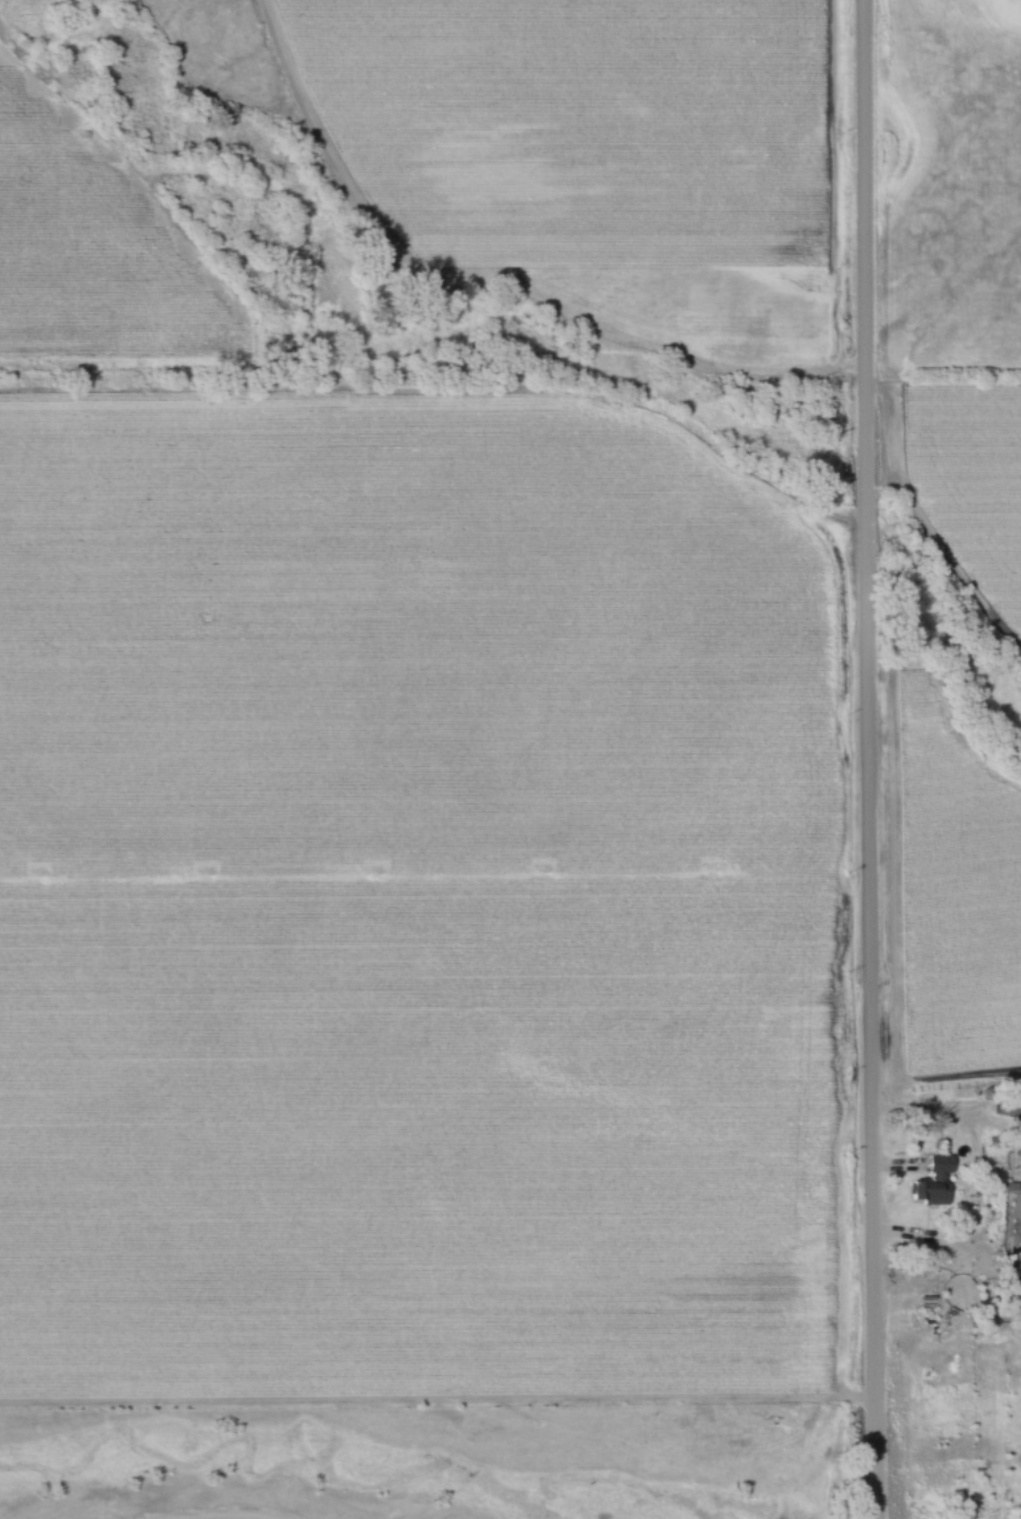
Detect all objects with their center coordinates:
road: (859, 759)
building: (1007, 1107)
building: (933, 1184)
building: (1011, 1189)
road: (926, 1237)

